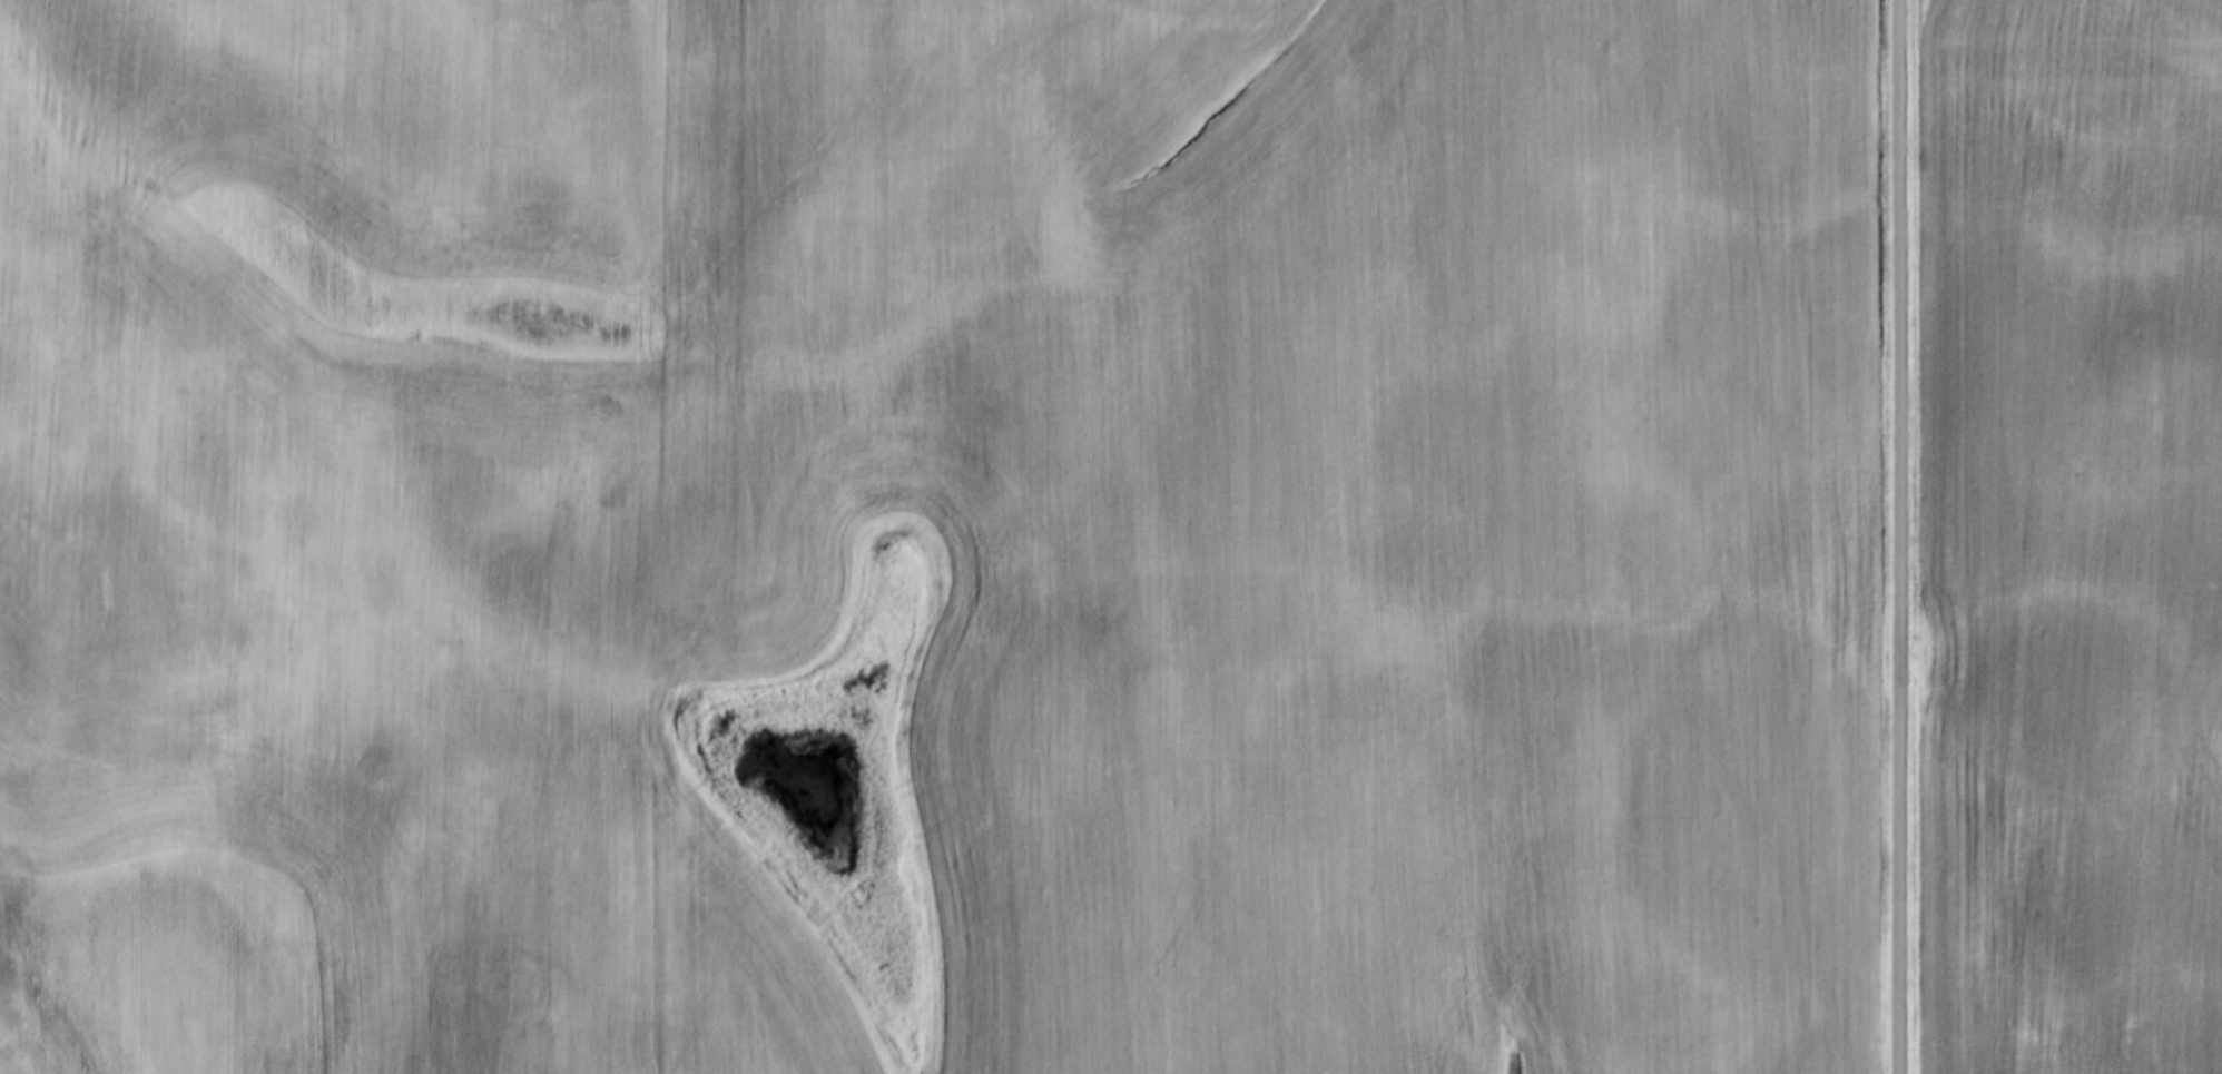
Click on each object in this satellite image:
road: (1903, 536)

